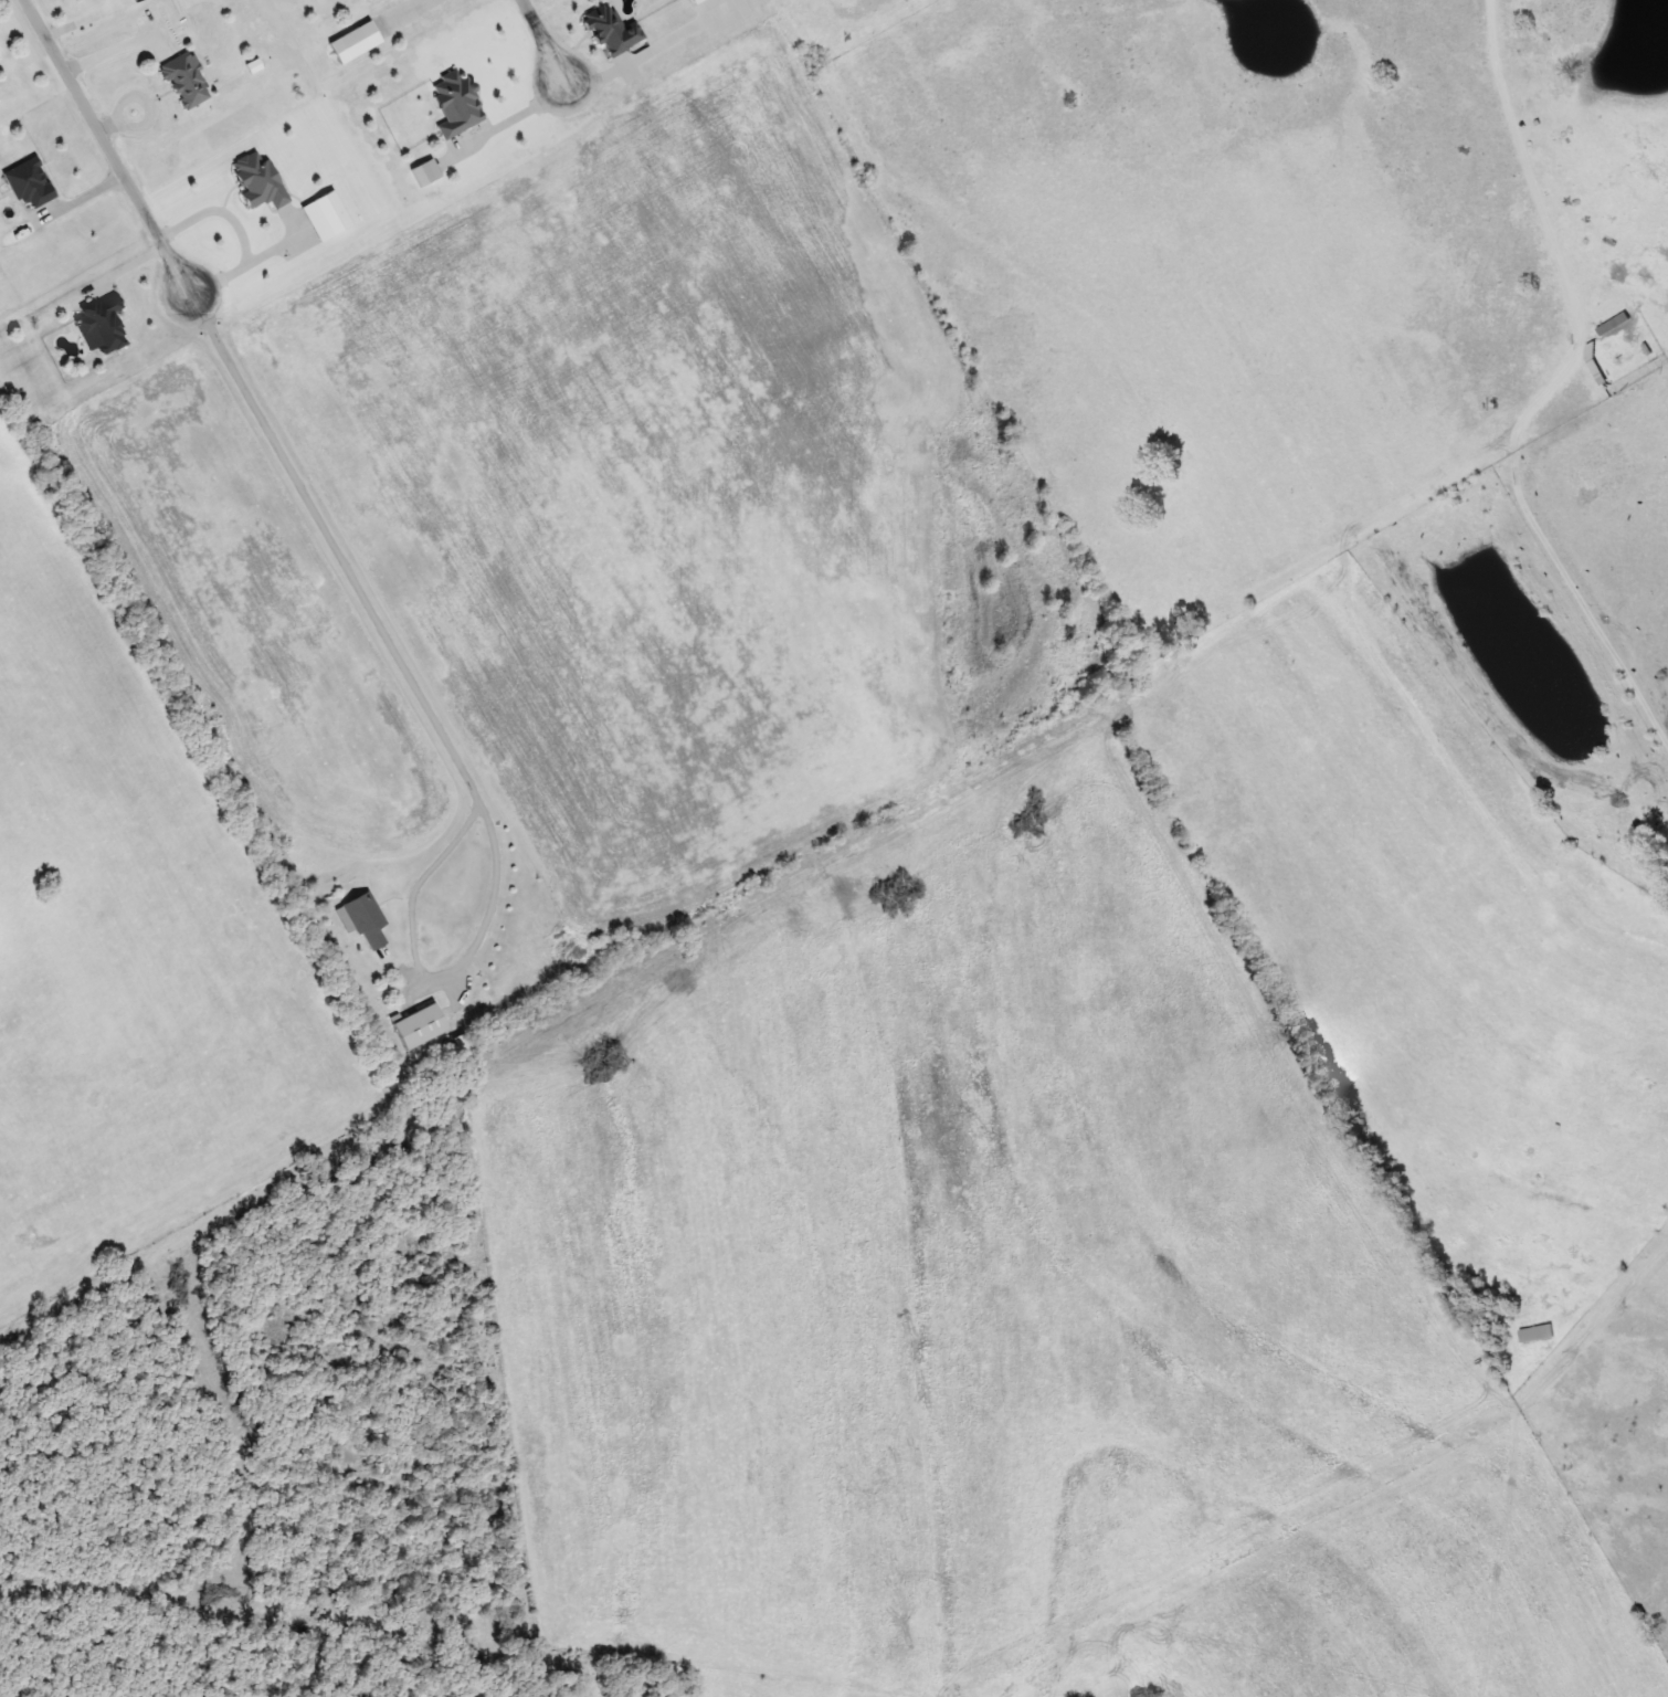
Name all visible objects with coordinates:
building: (359, 39)
road: (540, 41)
building: (186, 80)
building: (456, 104)
road: (97, 126)
building: (30, 183)
building: (102, 320)
building: (1614, 324)
road: (372, 616)
building: (365, 919)
building: (421, 1025)

